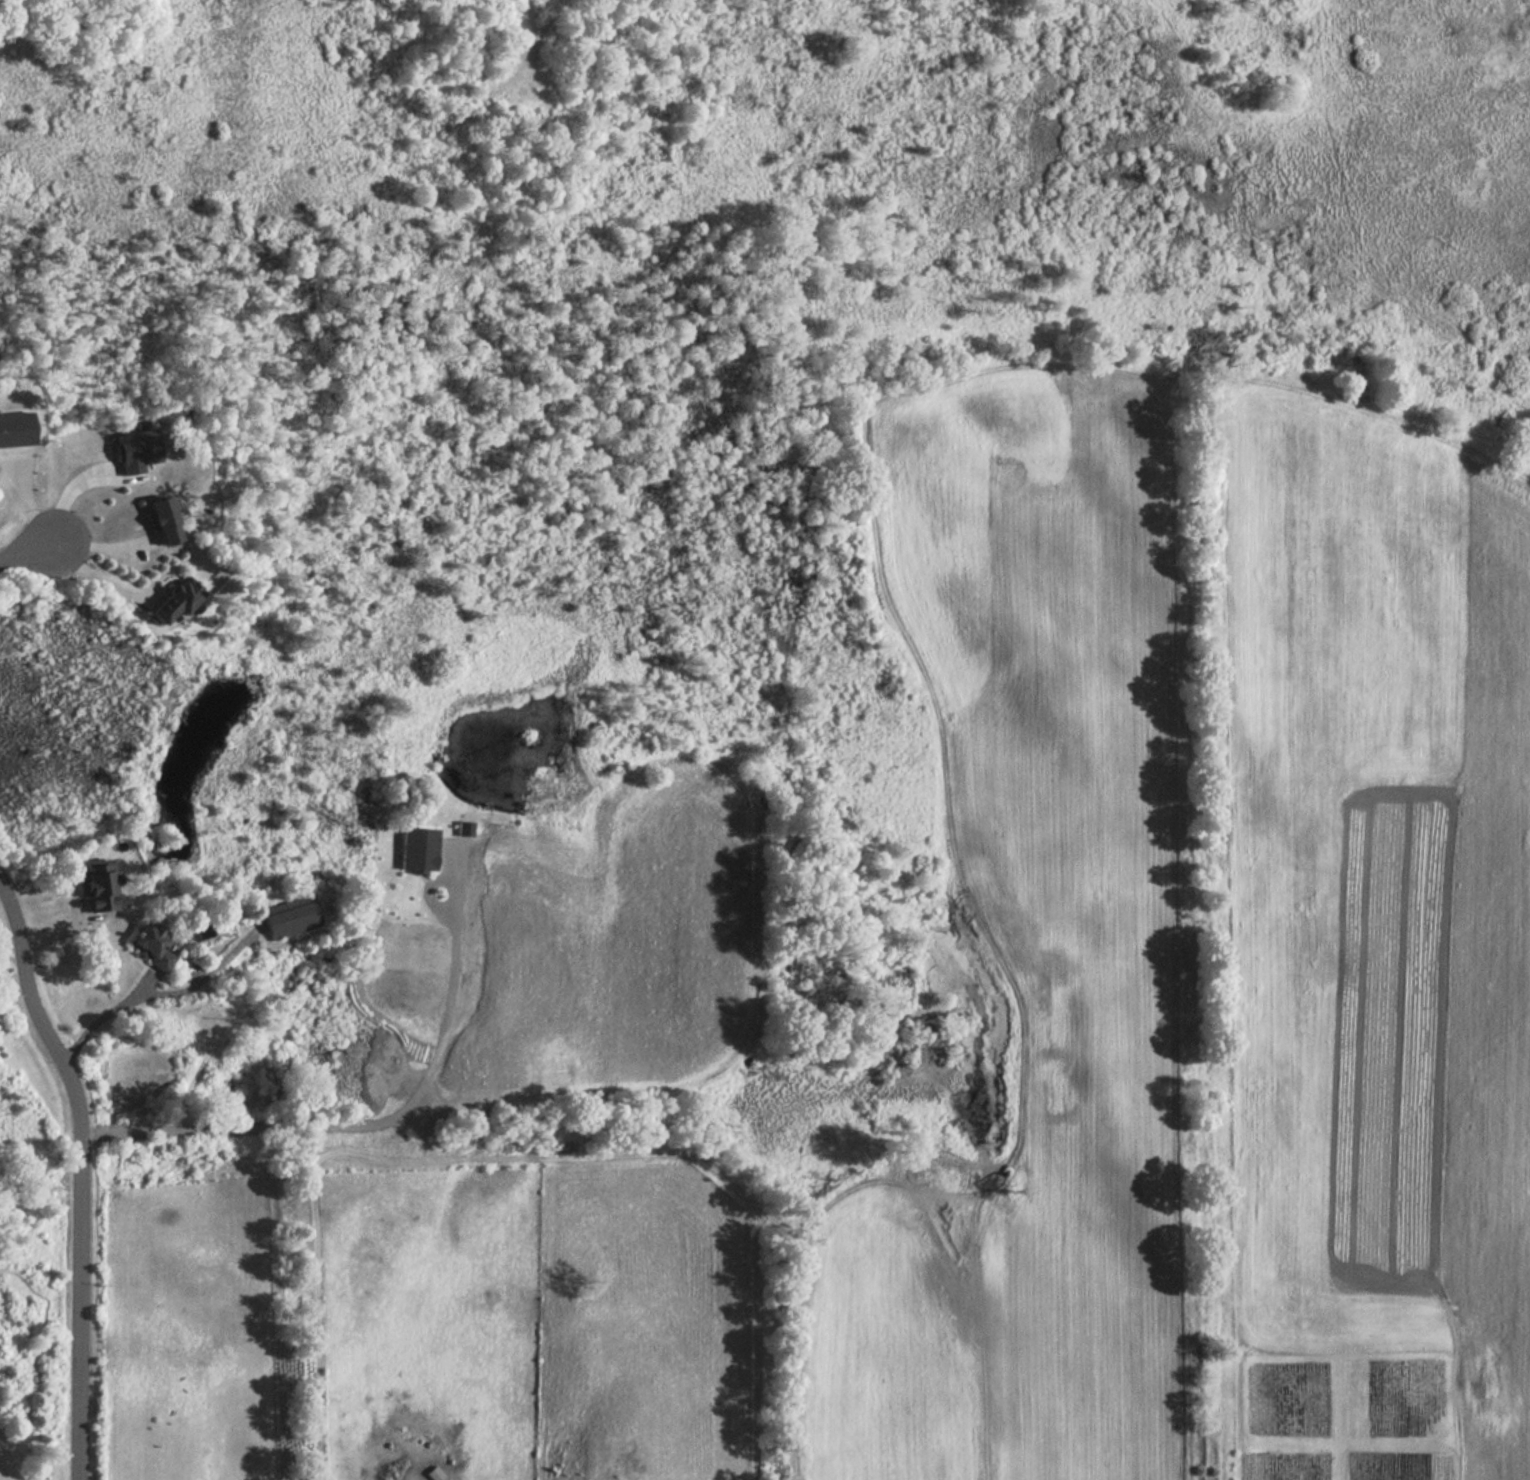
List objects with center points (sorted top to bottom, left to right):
building: (16, 428)
building: (137, 450)
building: (162, 520)
road: (29, 543)
road: (92, 577)
building: (177, 599)
building: (465, 828)
building: (419, 849)
building: (99, 884)
building: (291, 916)
building: (153, 946)
road: (104, 1015)
road: (370, 1122)
road: (77, 1168)

